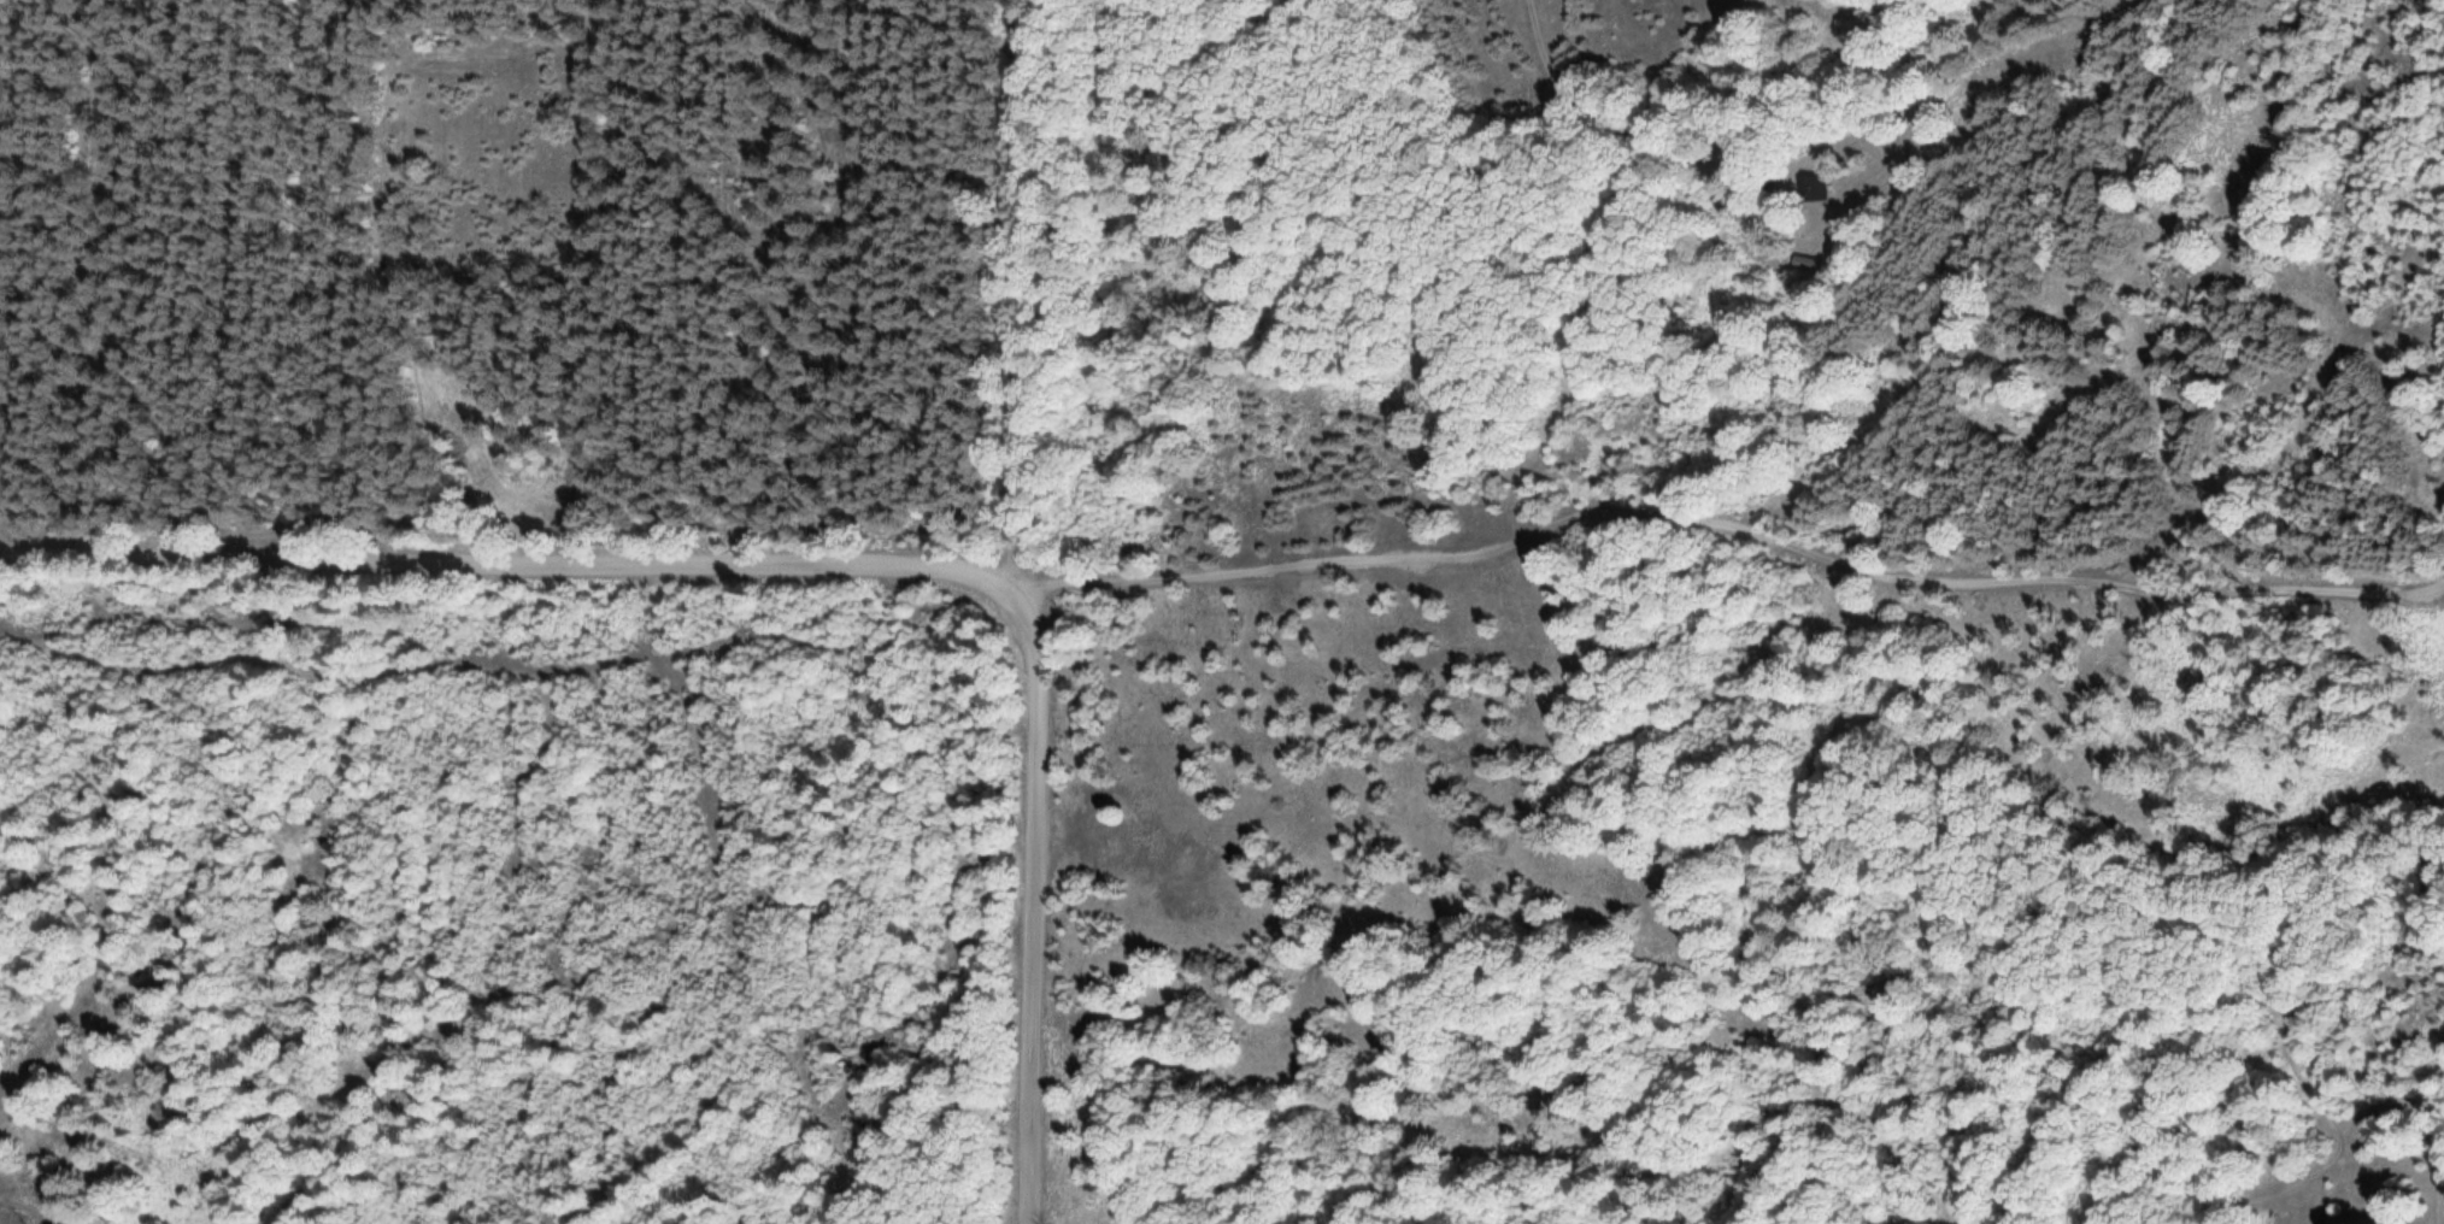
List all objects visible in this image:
road: (1543, 43)
building: (1813, 187)
road: (1007, 293)
road: (828, 564)
road: (1238, 570)
road: (1950, 575)
road: (2314, 1084)

